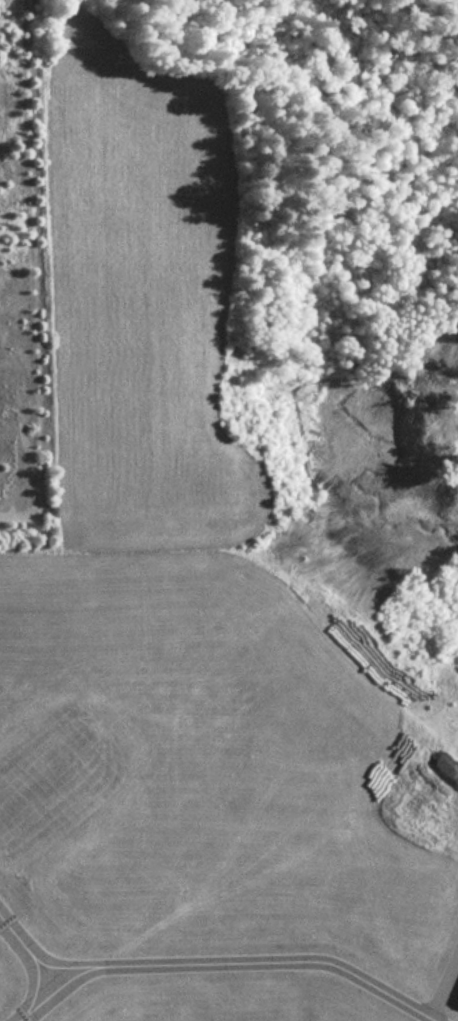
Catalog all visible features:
airport taxiway: (28, 953)
airport taxiway: (224, 962)
building: (457, 1002)

